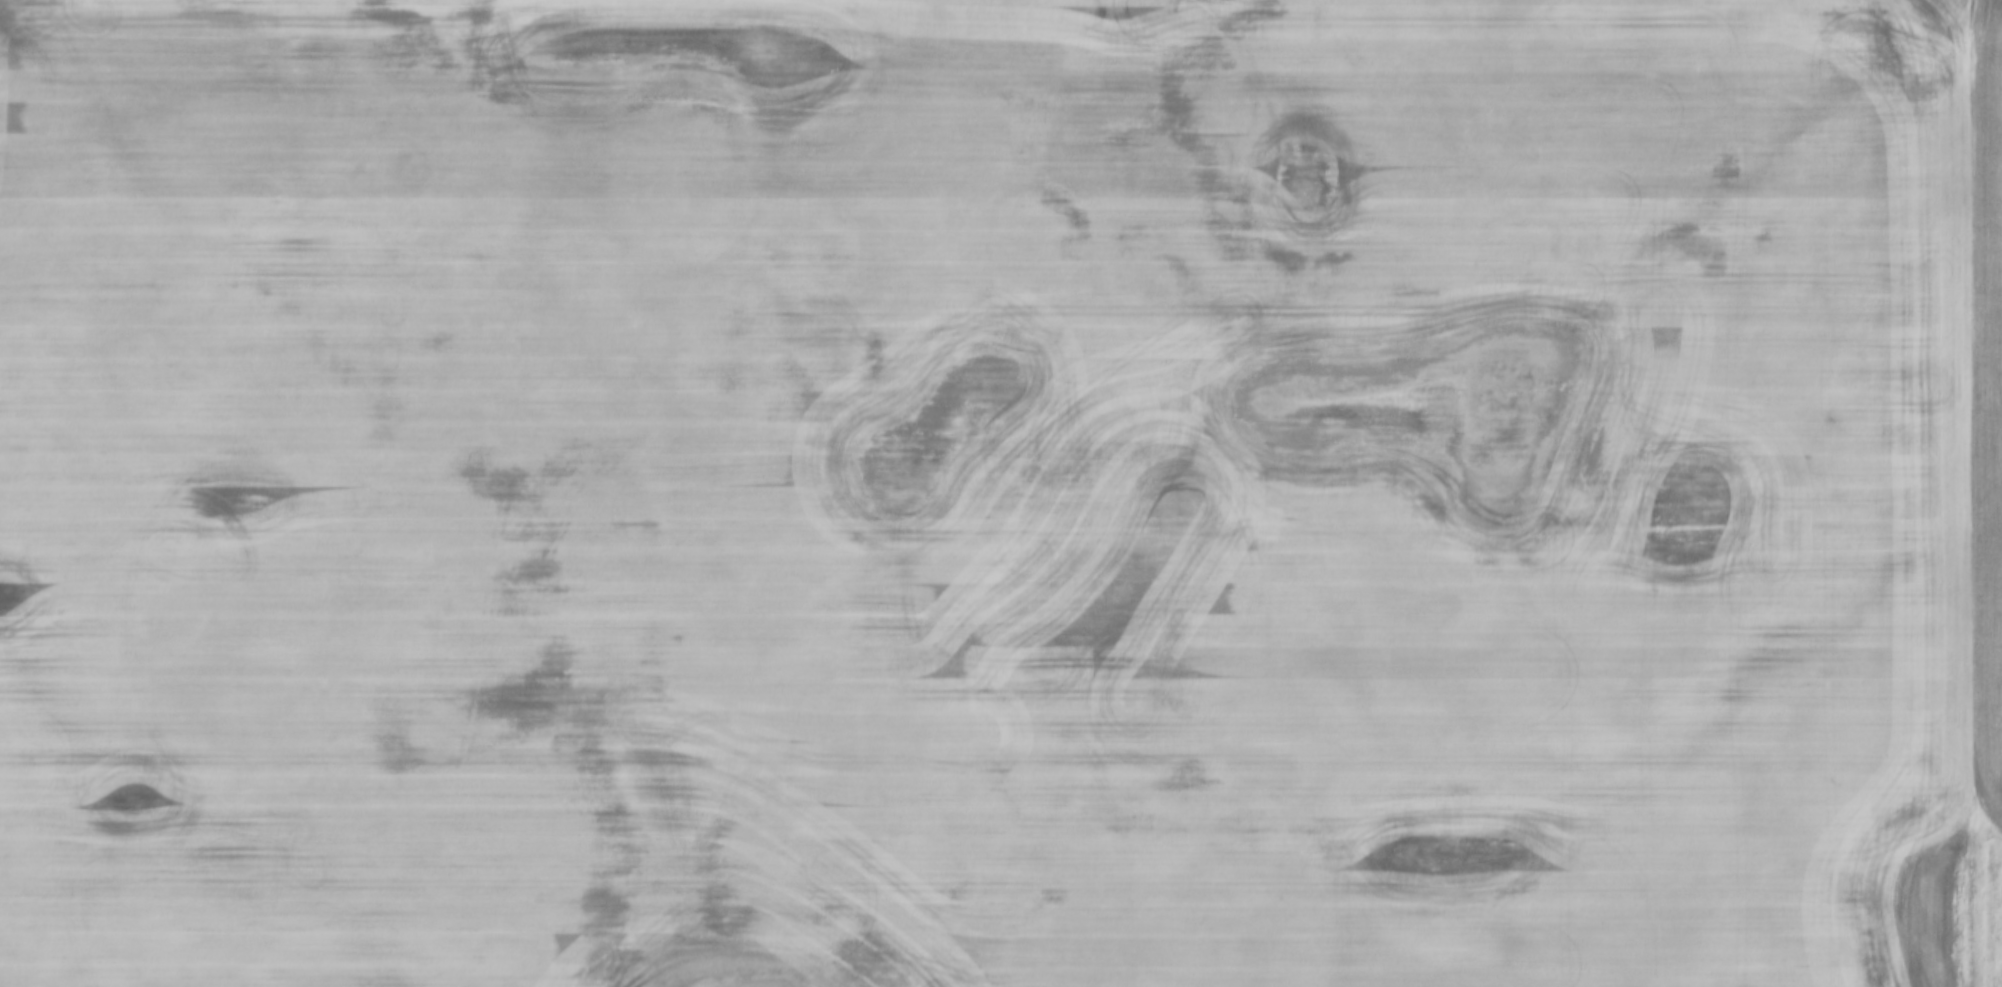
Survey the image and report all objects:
road: (1977, 493)

